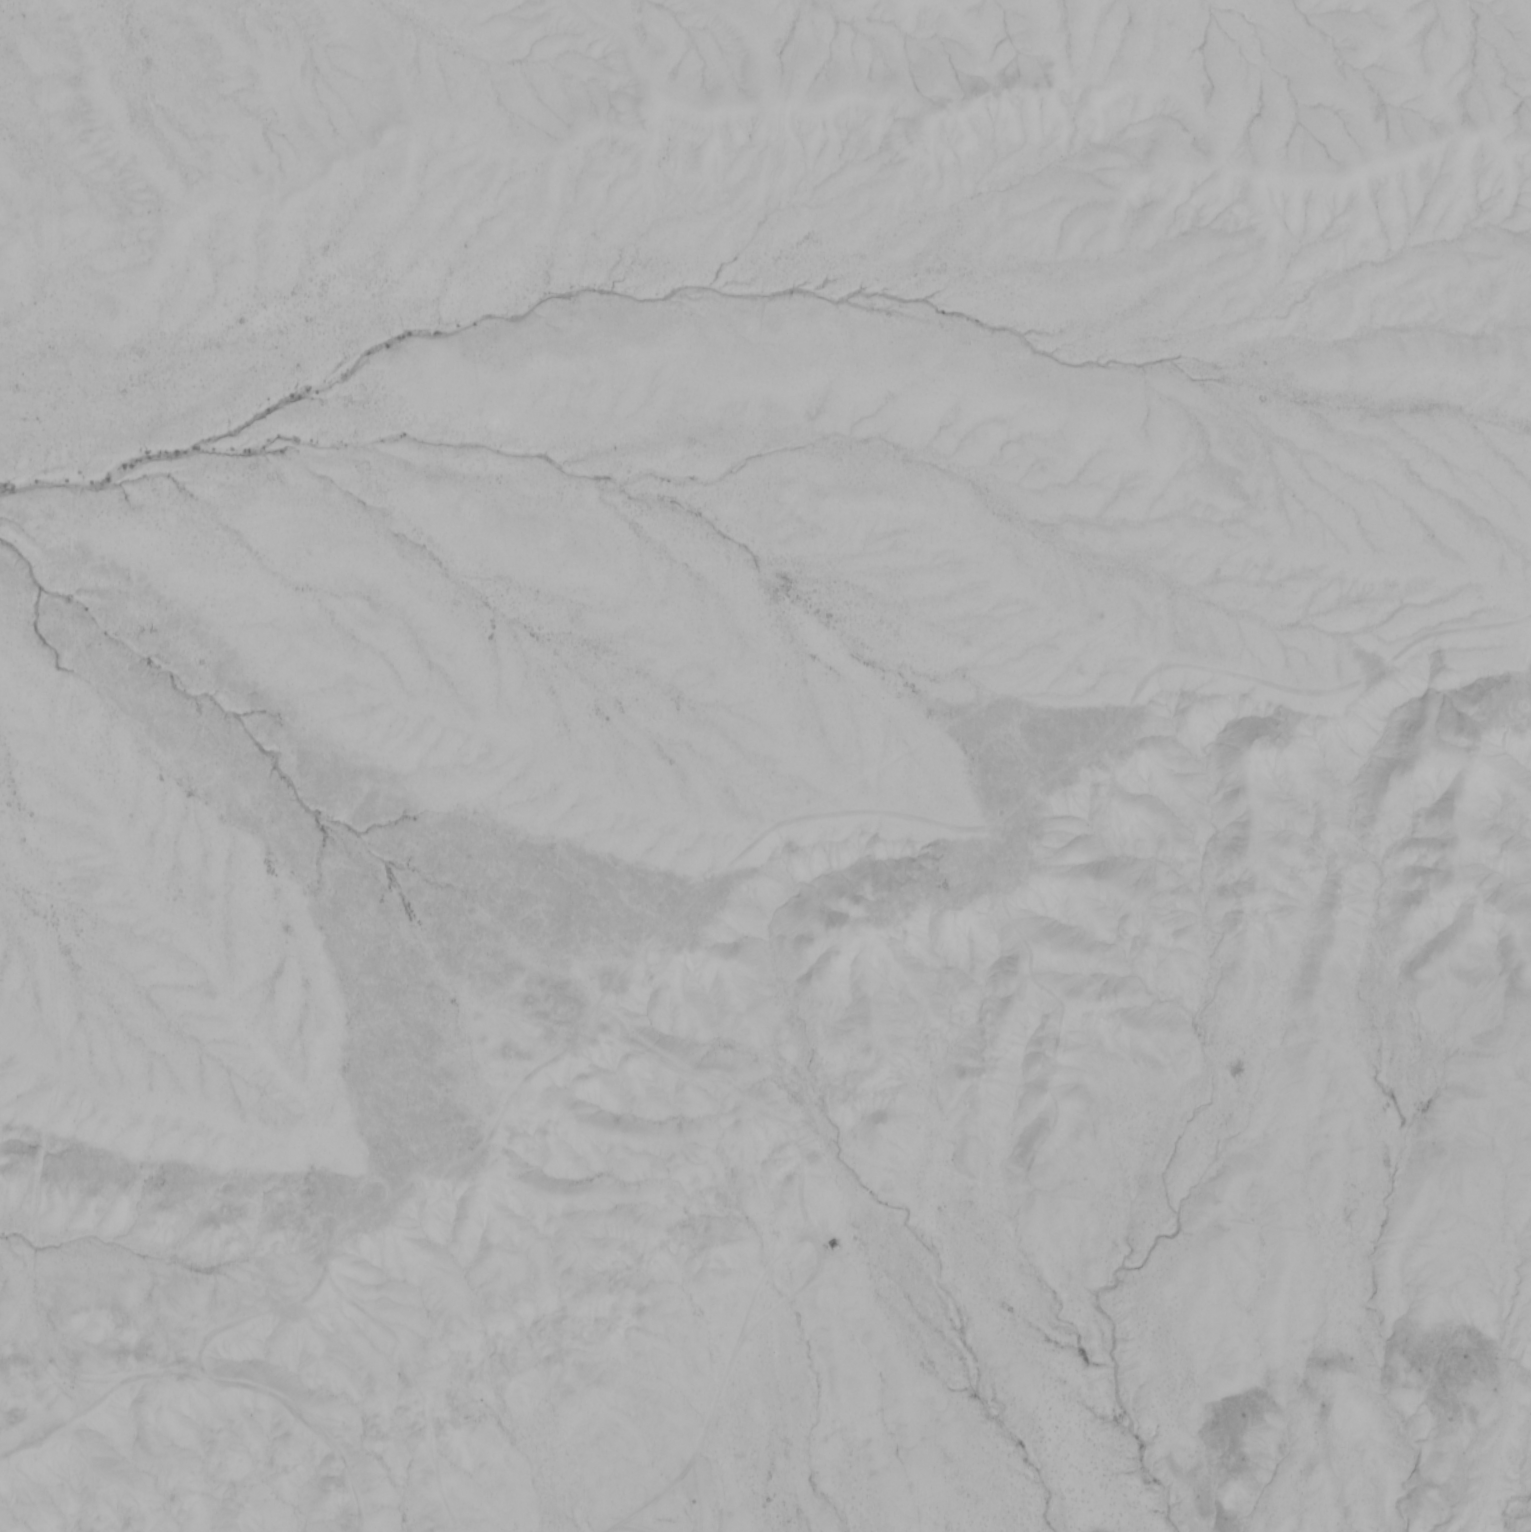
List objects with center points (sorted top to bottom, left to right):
road: (232, 1432)

